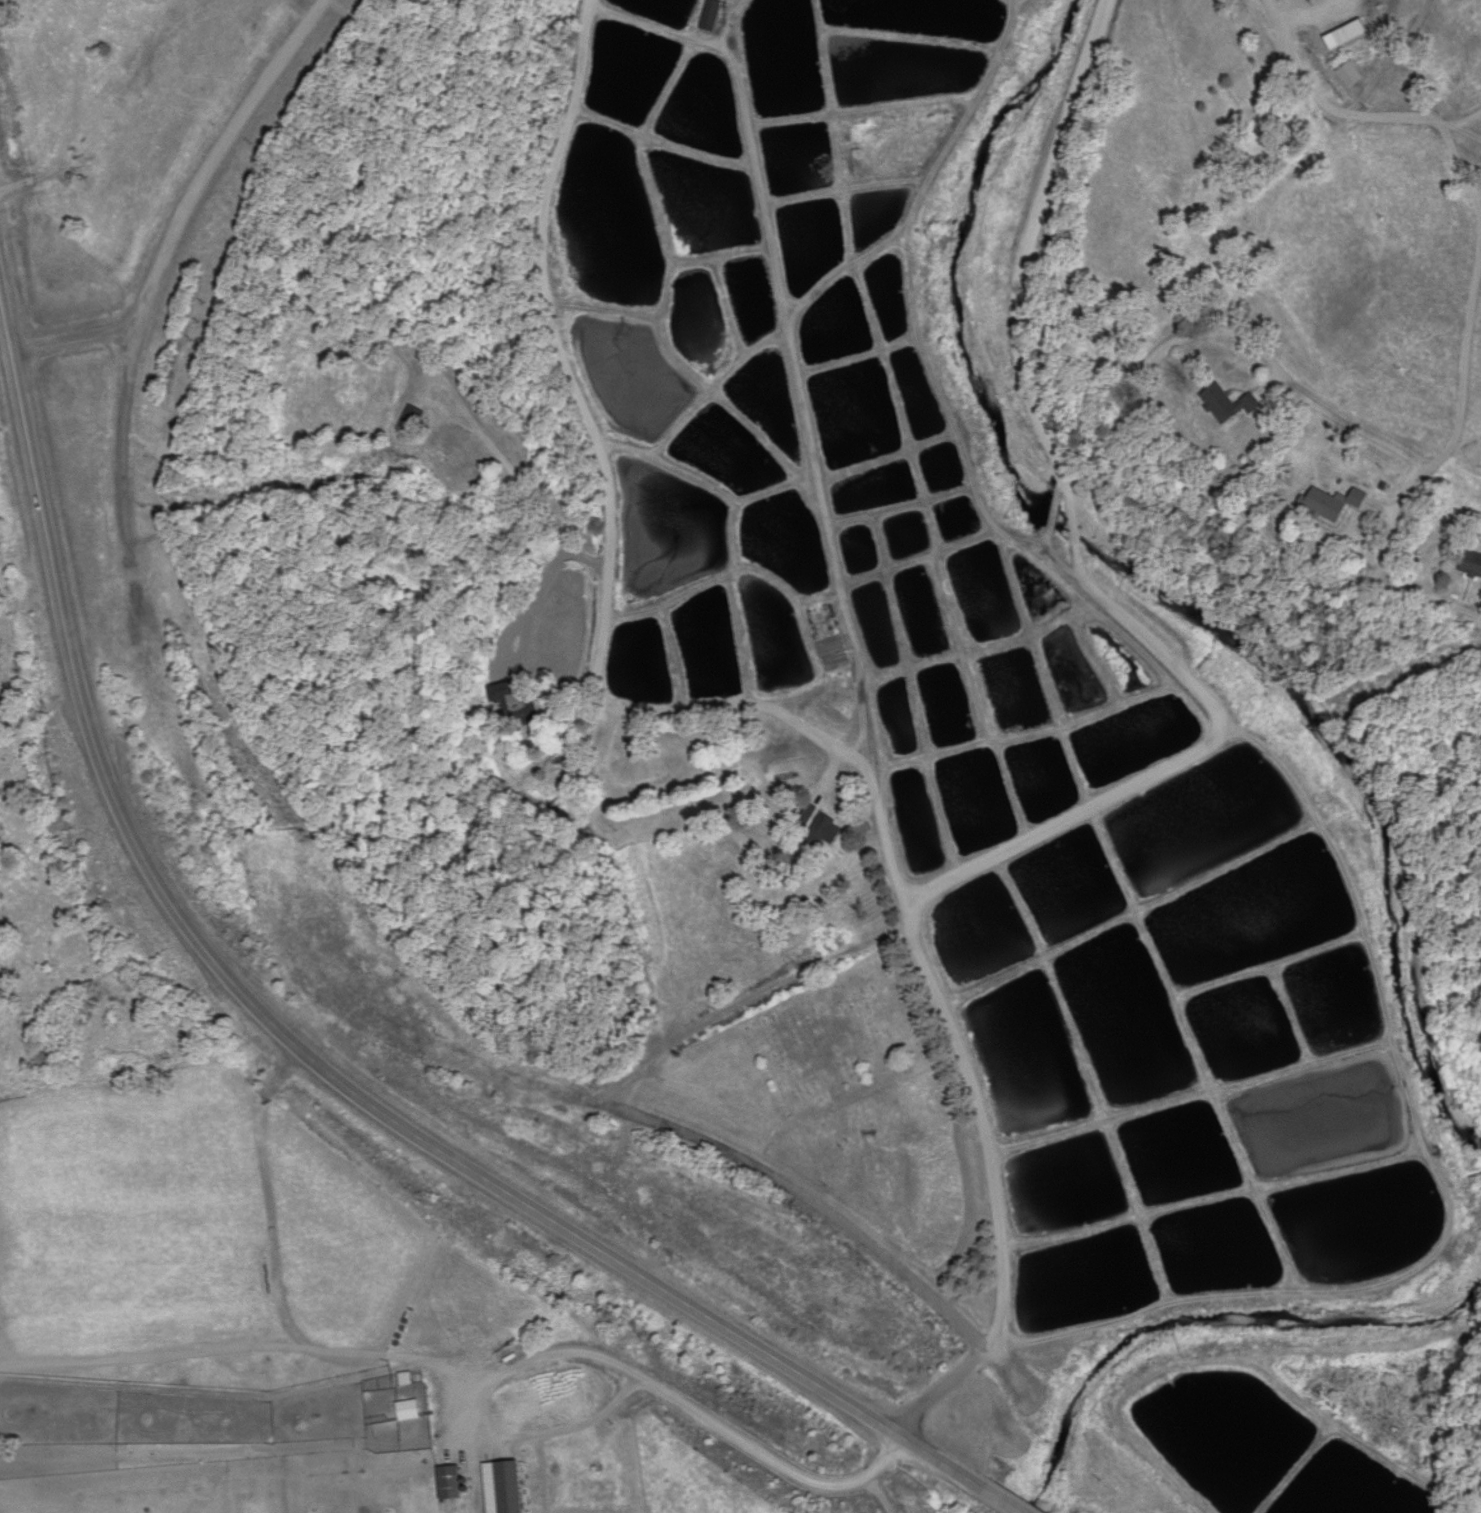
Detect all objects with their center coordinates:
road: (1308, 15)
building: (709, 16)
building: (1344, 35)
road: (1390, 61)
building: (1348, 75)
road: (1375, 119)
road: (1438, 123)
road: (180, 217)
road: (1278, 370)
building: (1226, 405)
building: (411, 418)
road: (1456, 439)
road: (118, 440)
road: (605, 479)
road: (1215, 499)
building: (1331, 503)
building: (1471, 564)
road: (845, 637)
road: (1198, 693)
building: (508, 701)
building: (806, 814)
building: (821, 832)
road: (1128, 917)
park: (829, 1041)
road: (328, 1074)
road: (1191, 1099)
road: (1443, 1189)
road: (803, 1201)
road: (1215, 1203)
road: (938, 1390)
building: (407, 1411)
building: (446, 1483)
building: (501, 1488)

